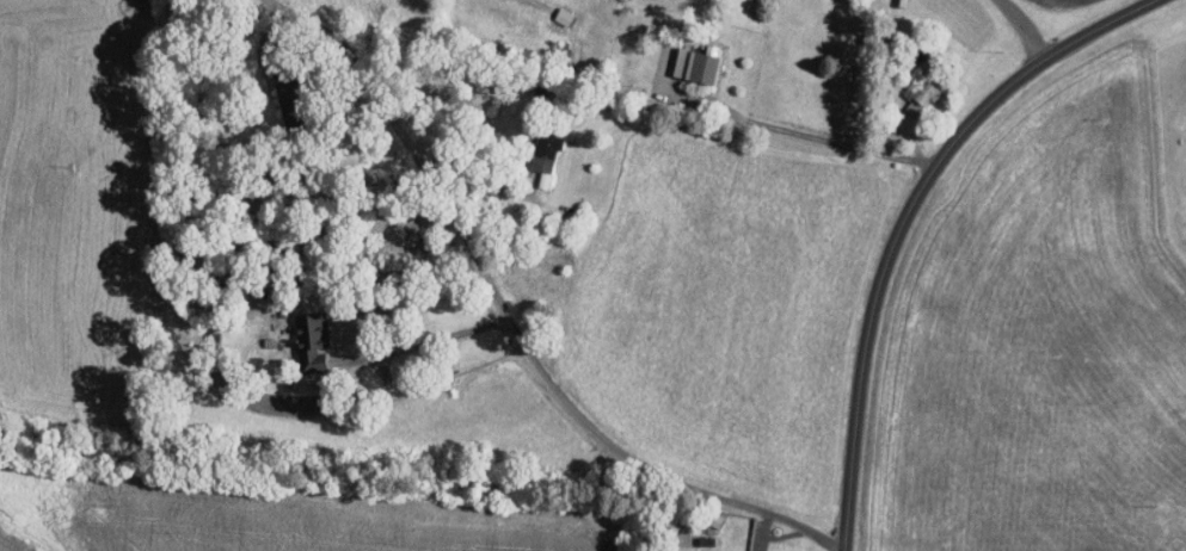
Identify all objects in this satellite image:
road: (1014, 31)
building: (692, 69)
building: (917, 95)
road: (797, 132)
building: (546, 155)
road: (902, 216)
road: (511, 330)
building: (309, 340)
road: (426, 341)

